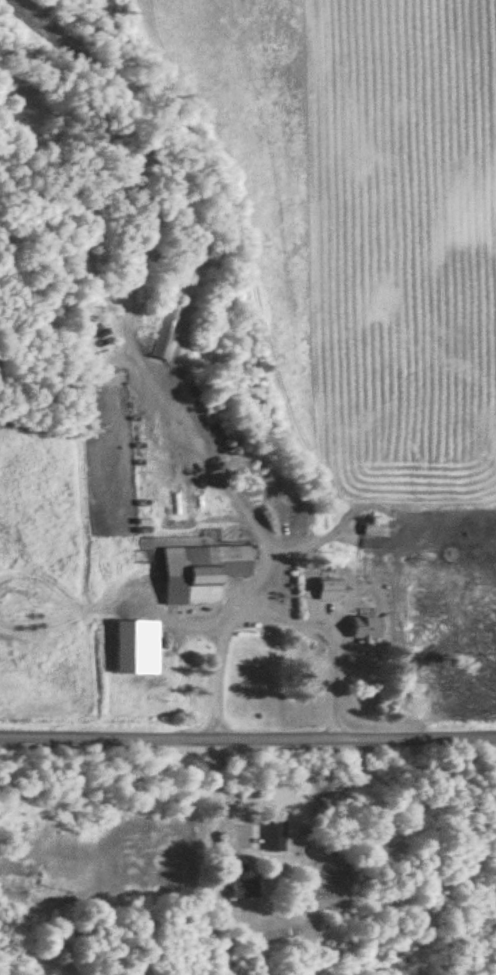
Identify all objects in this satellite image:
road: (207, 479)
building: (377, 528)
building: (201, 573)
building: (329, 589)
road: (258, 609)
building: (366, 628)
building: (130, 648)
road: (247, 721)
building: (275, 837)
building: (243, 886)

